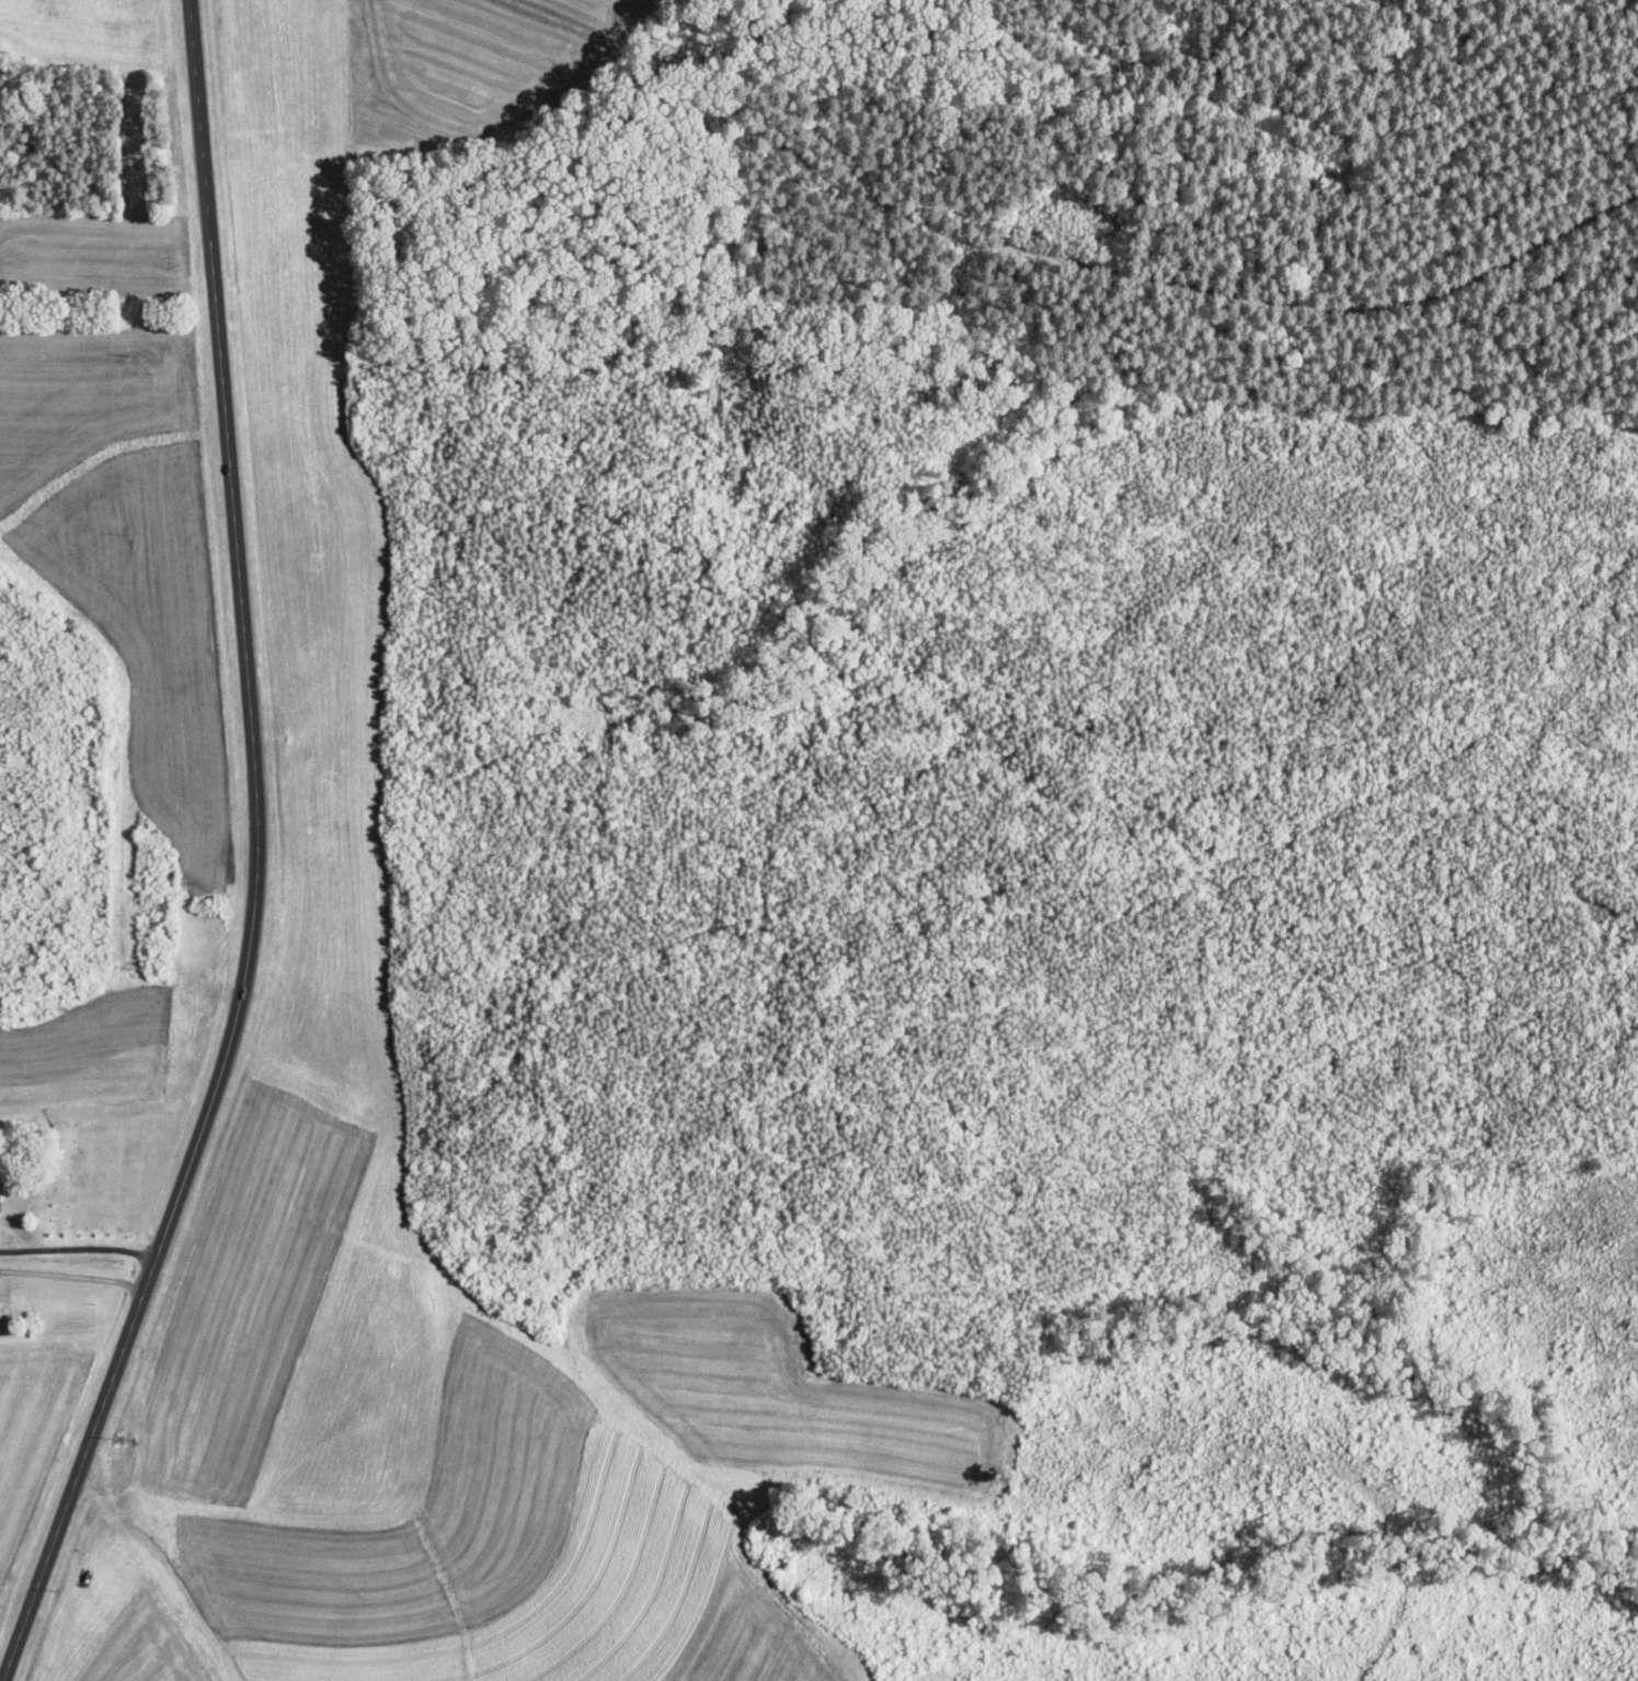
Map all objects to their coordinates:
road: (251, 859)
road: (77, 1254)

